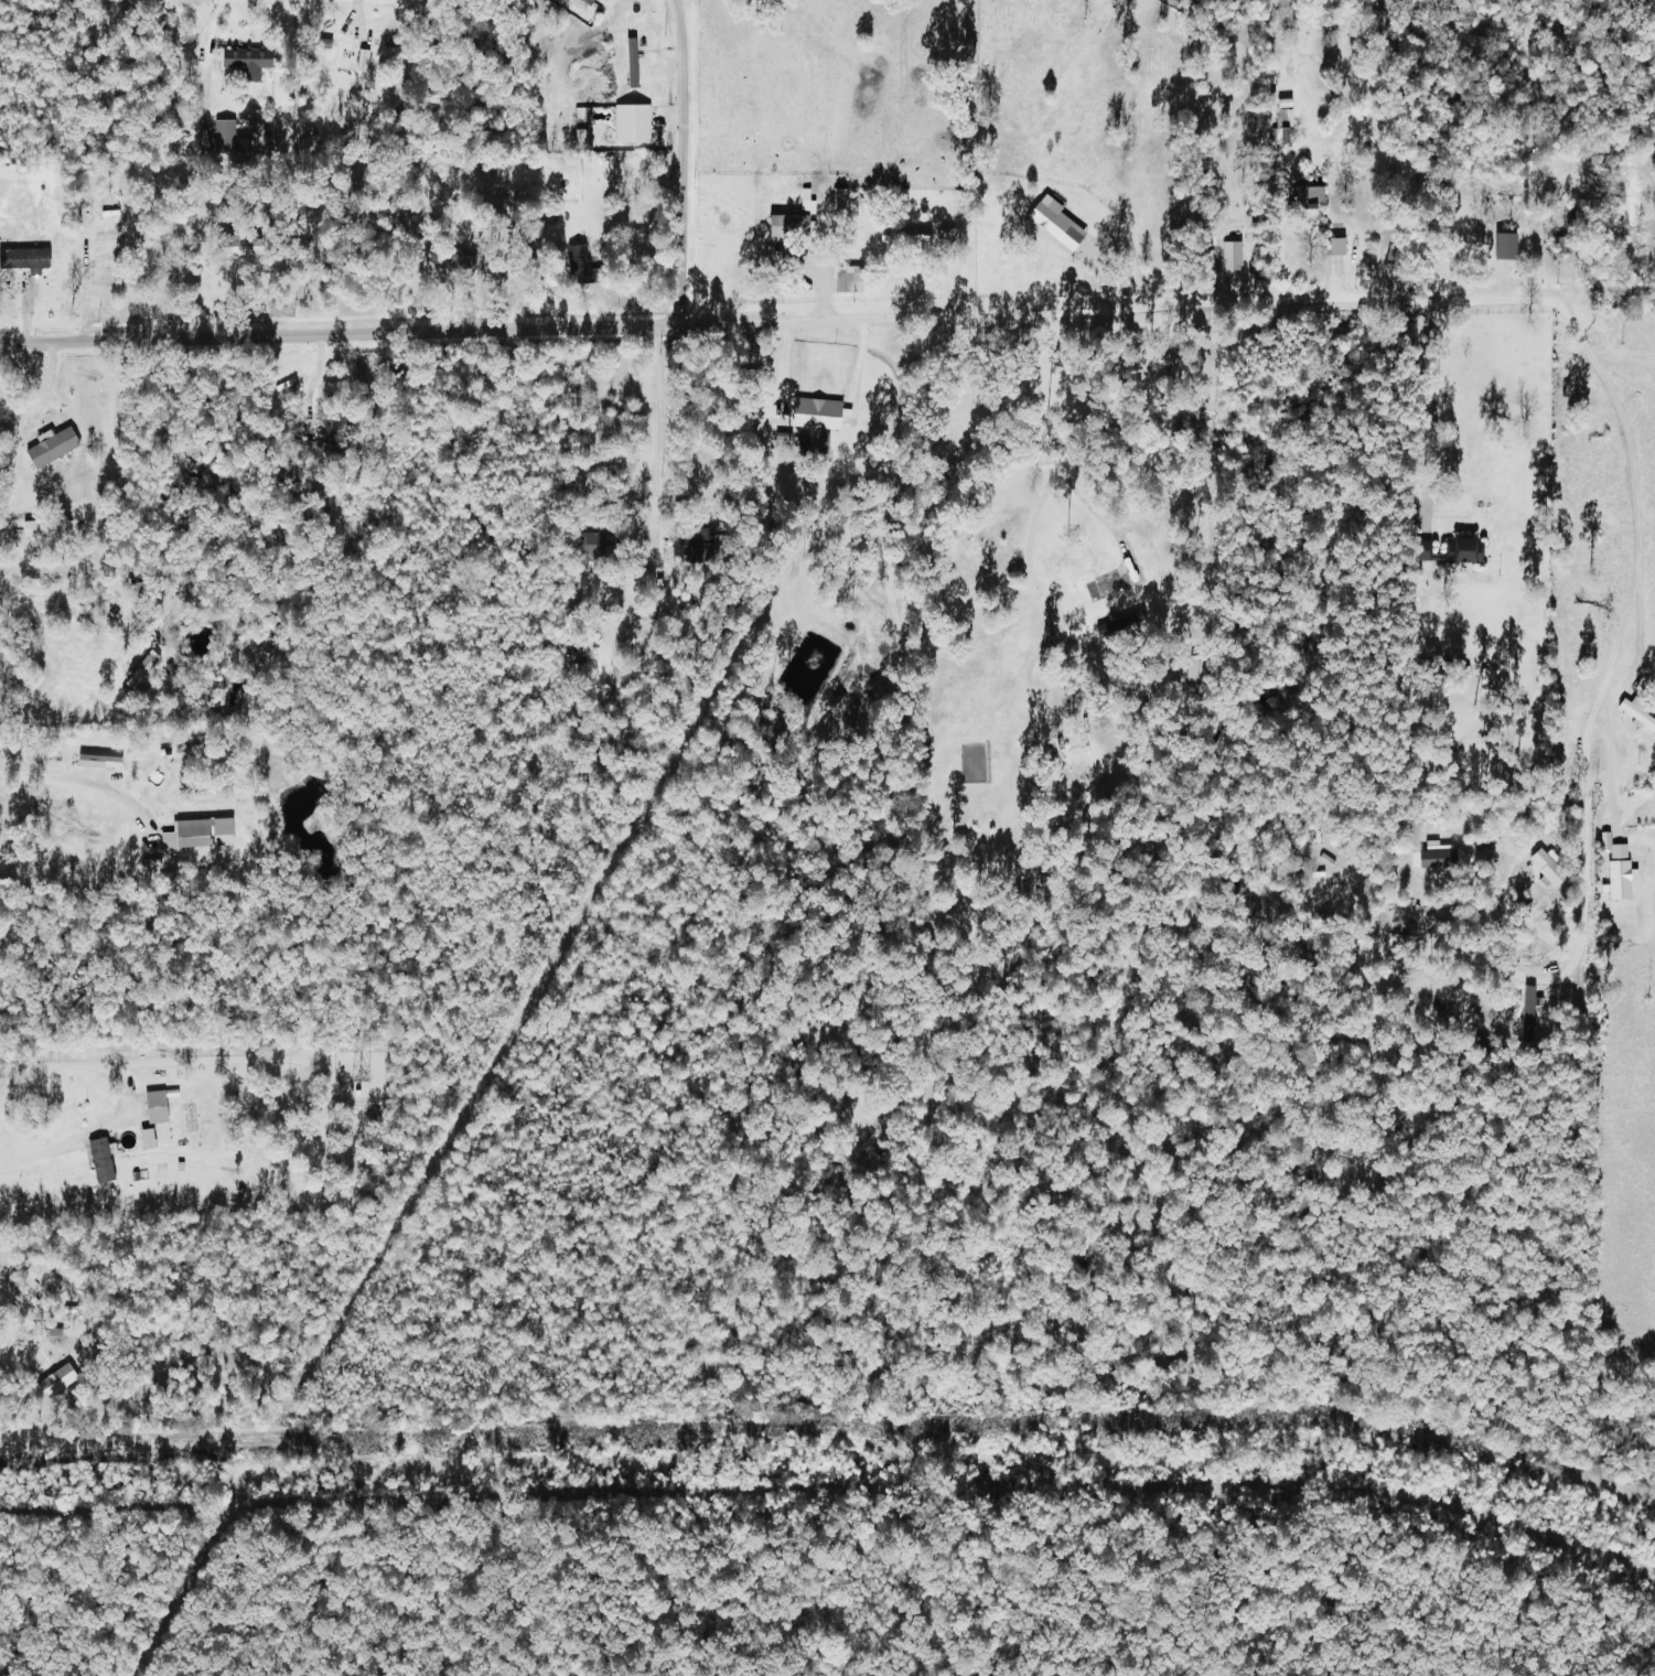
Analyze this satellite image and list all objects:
building: (590, 2)
building: (365, 60)
building: (634, 123)
building: (226, 137)
road: (684, 160)
building: (8, 172)
building: (1310, 194)
building: (842, 201)
building: (799, 219)
building: (1057, 225)
building: (1337, 246)
building: (1234, 256)
building: (25, 259)
building: (578, 264)
building: (851, 279)
road: (830, 314)
road: (1432, 404)
building: (819, 413)
road: (653, 415)
building: (54, 447)
road: (1050, 471)
building: (35, 529)
building: (593, 545)
building: (1465, 550)
road: (1636, 557)
road: (71, 612)
building: (139, 672)
building: (1638, 711)
building: (101, 762)
building: (202, 834)
building: (1439, 858)
building: (1551, 868)
building: (1620, 869)
road: (1583, 915)
building: (1532, 1008)
building: (158, 1107)
building: (150, 1139)
road: (58, 1147)
building: (105, 1159)
road: (21, 1302)
building: (60, 1379)

